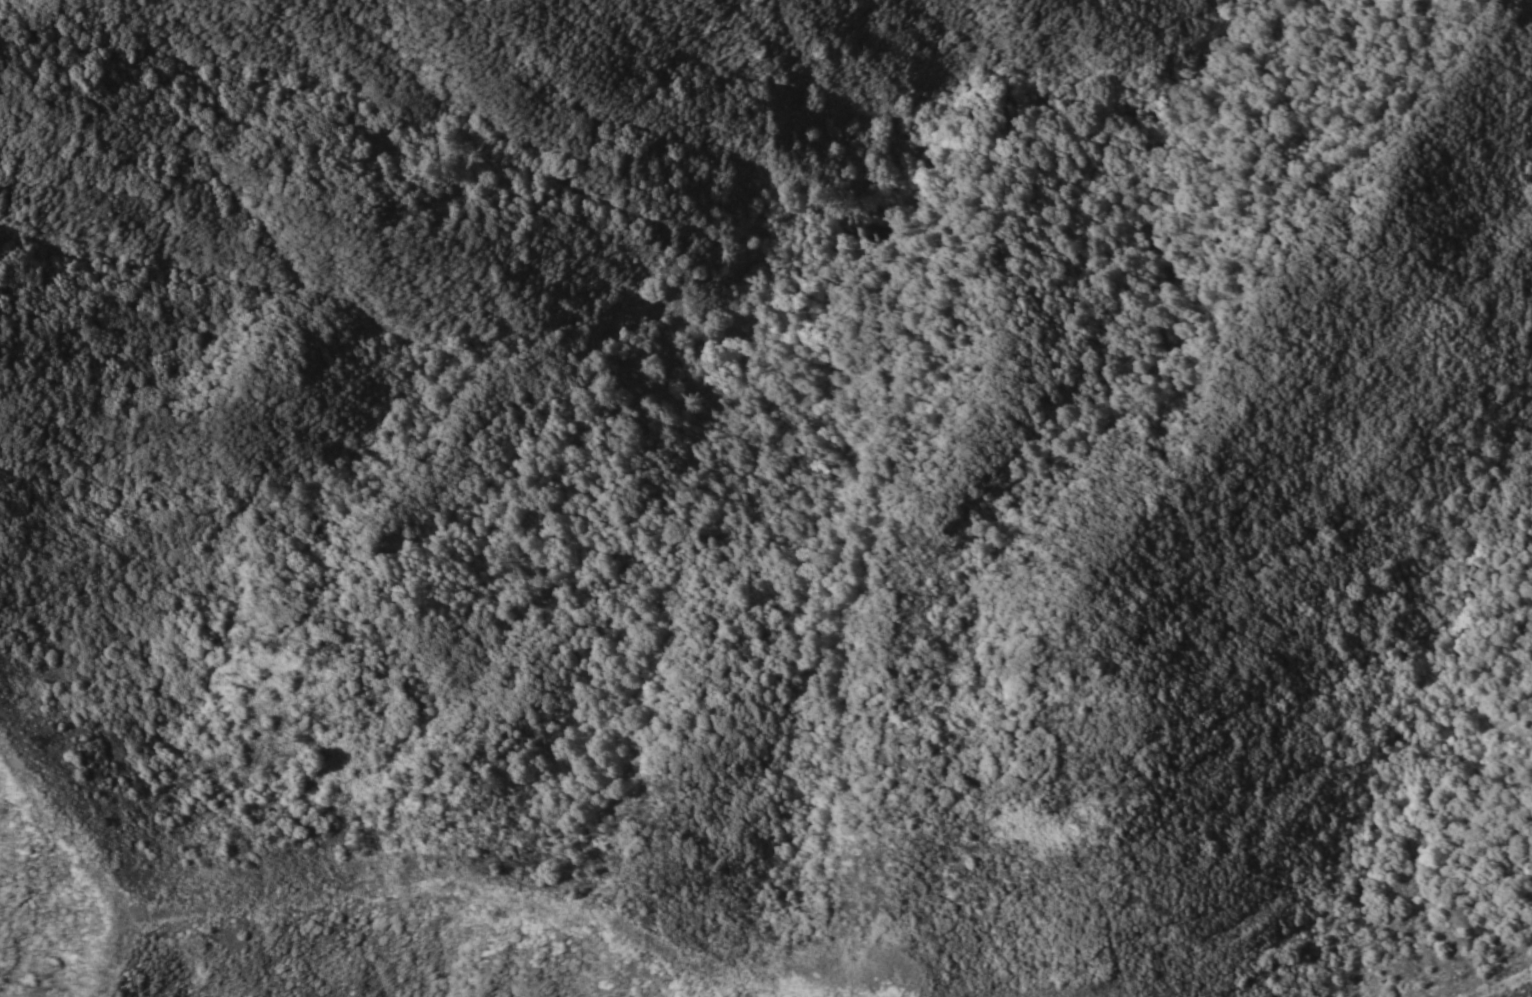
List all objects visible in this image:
road: (77, 857)

